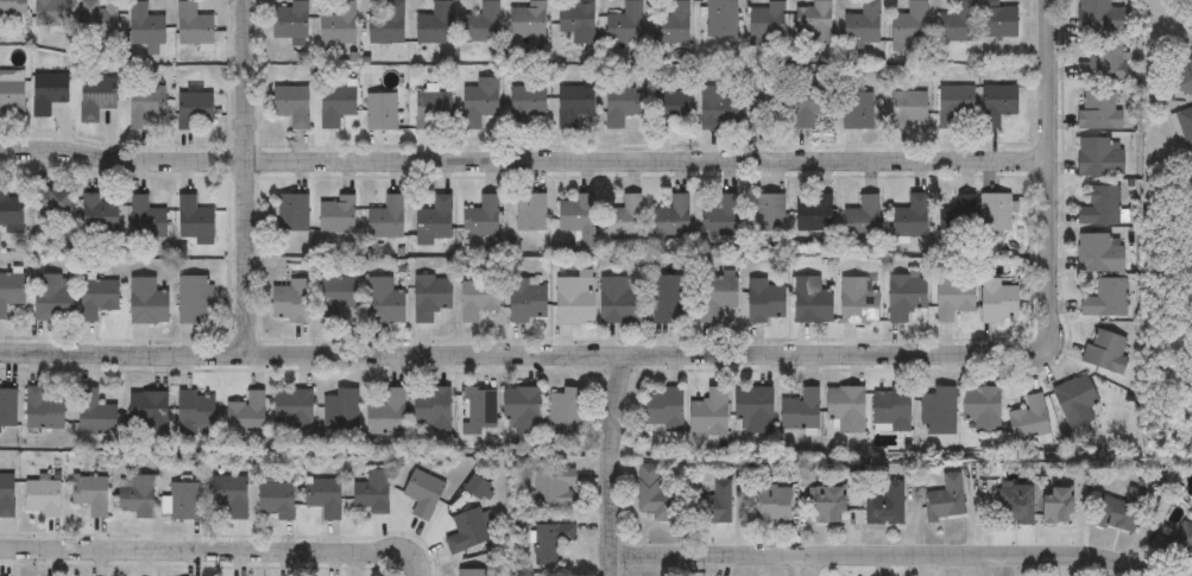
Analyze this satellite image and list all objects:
building: (12, 7)
building: (51, 13)
building: (1098, 17)
building: (99, 19)
building: (289, 19)
building: (526, 19)
building: (721, 19)
building: (997, 19)
building: (578, 20)
building: (765, 20)
building: (814, 20)
building: (481, 23)
building: (957, 23)
building: (193, 24)
building: (338, 24)
building: (386, 24)
building: (433, 24)
building: (624, 24)
building: (670, 24)
building: (862, 24)
building: (909, 24)
building: (145, 26)
building: (1099, 62)
building: (1186, 78)
building: (48, 93)
building: (11, 96)
building: (96, 96)
building: (478, 101)
building: (290, 103)
building: (811, 103)
building: (998, 103)
building: (335, 105)
building: (526, 105)
building: (572, 105)
building: (619, 105)
building: (954, 105)
building: (144, 106)
building: (762, 107)
building: (715, 108)
building: (674, 109)
building: (907, 109)
building: (194, 110)
building: (431, 110)
building: (856, 110)
building: (379, 112)
building: (1096, 112)
building: (1184, 126)
building: (1097, 158)
road: (525, 165)
road: (1052, 167)
road: (248, 177)
building: (52, 201)
building: (1098, 205)
building: (10, 209)
building: (99, 211)
building: (529, 211)
building: (994, 211)
building: (291, 213)
building: (767, 213)
building: (812, 213)
building: (336, 215)
building: (576, 216)
building: (718, 216)
building: (909, 216)
building: (957, 216)
building: (481, 217)
building: (623, 217)
building: (670, 217)
building: (862, 217)
building: (145, 219)
building: (385, 219)
building: (193, 221)
building: (433, 221)
building: (1097, 253)
building: (10, 291)
building: (717, 295)
building: (335, 296)
building: (906, 296)
building: (430, 297)
building: (51, 298)
building: (97, 298)
building: (575, 298)
building: (1104, 298)
building: (195, 299)
building: (478, 299)
building: (667, 299)
building: (953, 299)
building: (290, 300)
building: (528, 300)
building: (617, 300)
building: (812, 300)
building: (858, 300)
building: (146, 302)
building: (383, 302)
building: (765, 302)
building: (997, 302)
building: (1103, 350)
road: (525, 353)
building: (1073, 400)
building: (478, 407)
building: (7, 409)
building: (431, 409)
building: (522, 409)
building: (755, 409)
building: (890, 409)
building: (980, 409)
building: (42, 410)
building: (196, 410)
building: (800, 410)
building: (844, 410)
building: (565, 411)
building: (663, 411)
building: (936, 411)
building: (292, 412)
building: (339, 412)
building: (95, 413)
building: (386, 413)
building: (708, 413)
building: (245, 414)
building: (147, 417)
building: (1028, 418)
road: (608, 464)
building: (477, 487)
building: (556, 488)
building: (372, 494)
building: (423, 494)
building: (90, 495)
building: (135, 495)
building: (231, 495)
building: (658, 495)
building: (6, 496)
building: (42, 498)
building: (324, 498)
building: (946, 500)
building: (277, 501)
building: (1015, 504)
building: (717, 505)
building: (774, 505)
building: (831, 505)
building: (885, 506)
building: (1058, 506)
building: (1121, 511)
building: (467, 532)
building: (1177, 543)
building: (554, 544)
road: (206, 546)
road: (881, 551)
road: (808, 563)
road: (1007, 564)
road: (410, 570)
building: (469, 571)

